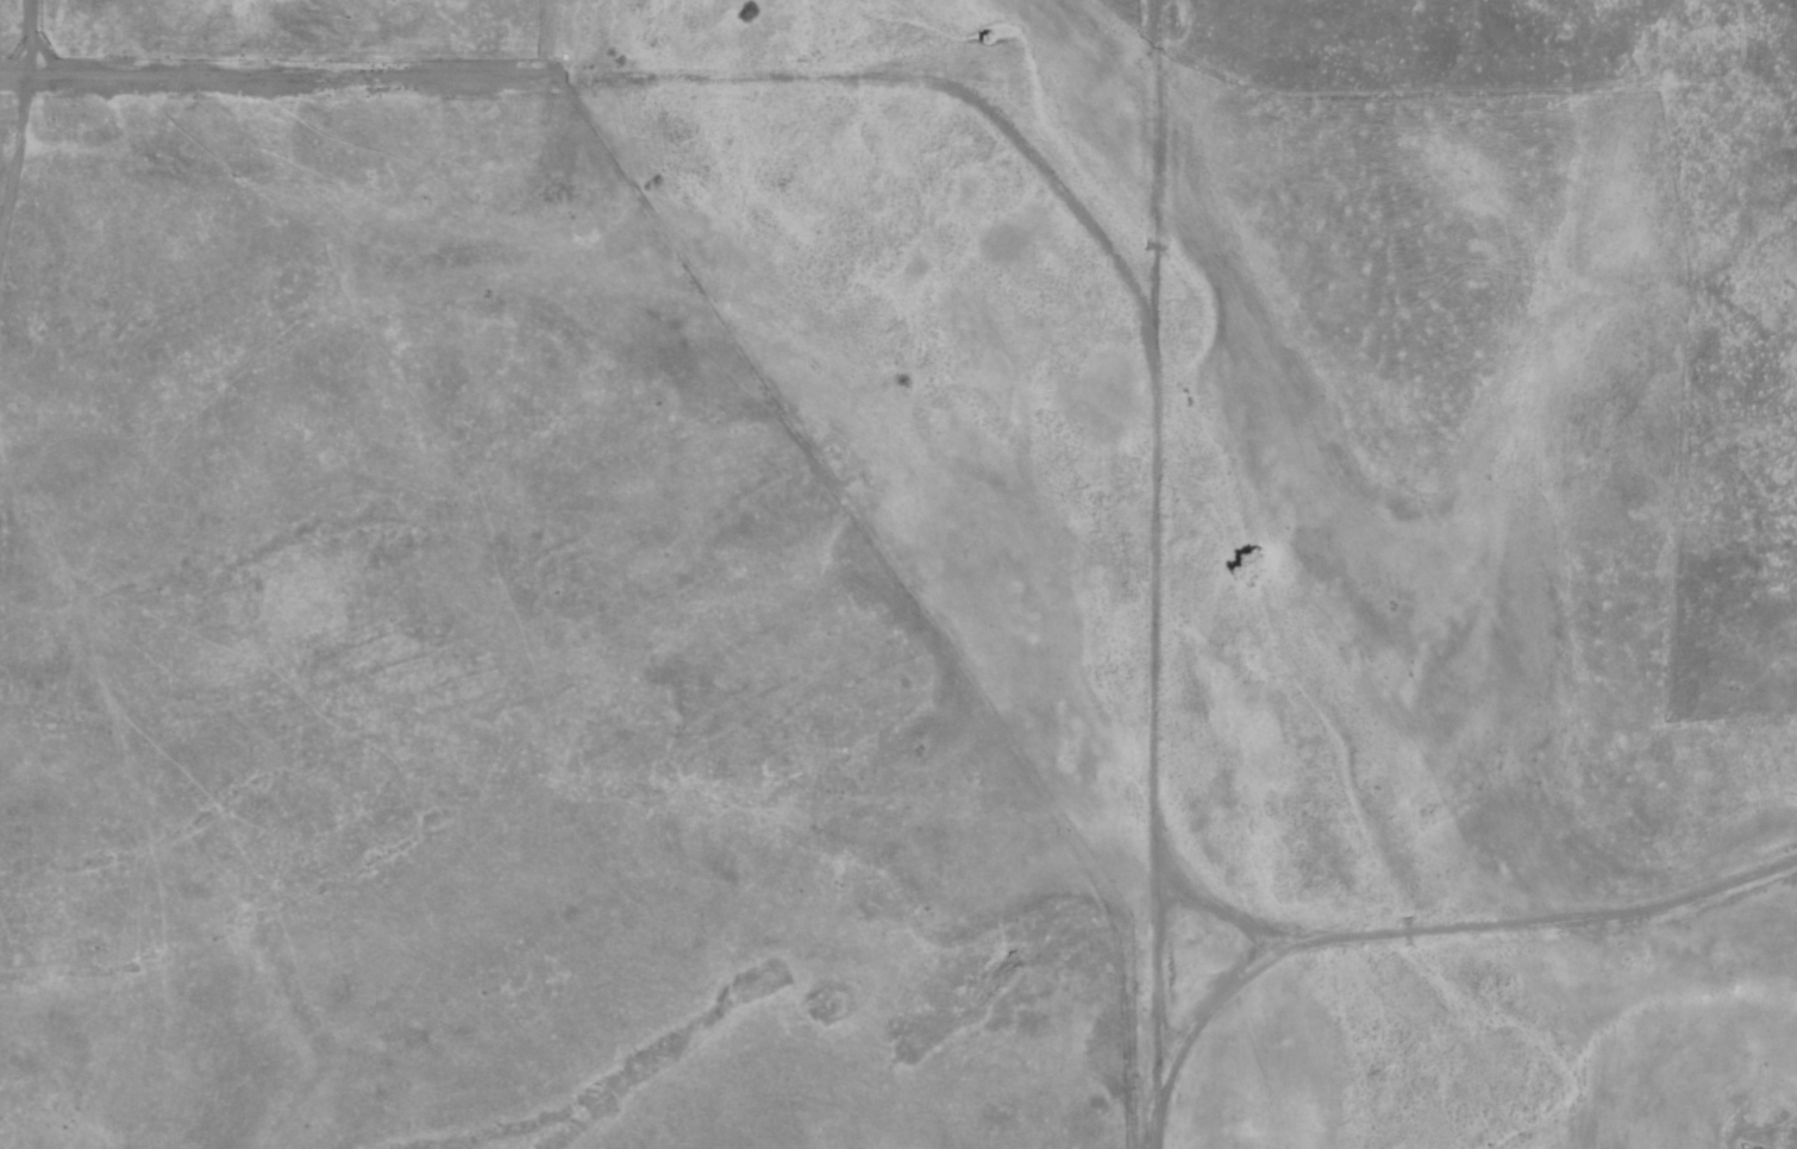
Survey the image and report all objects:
road: (1139, 30)
road: (245, 76)
crop: (334, 538)
road: (1420, 931)

